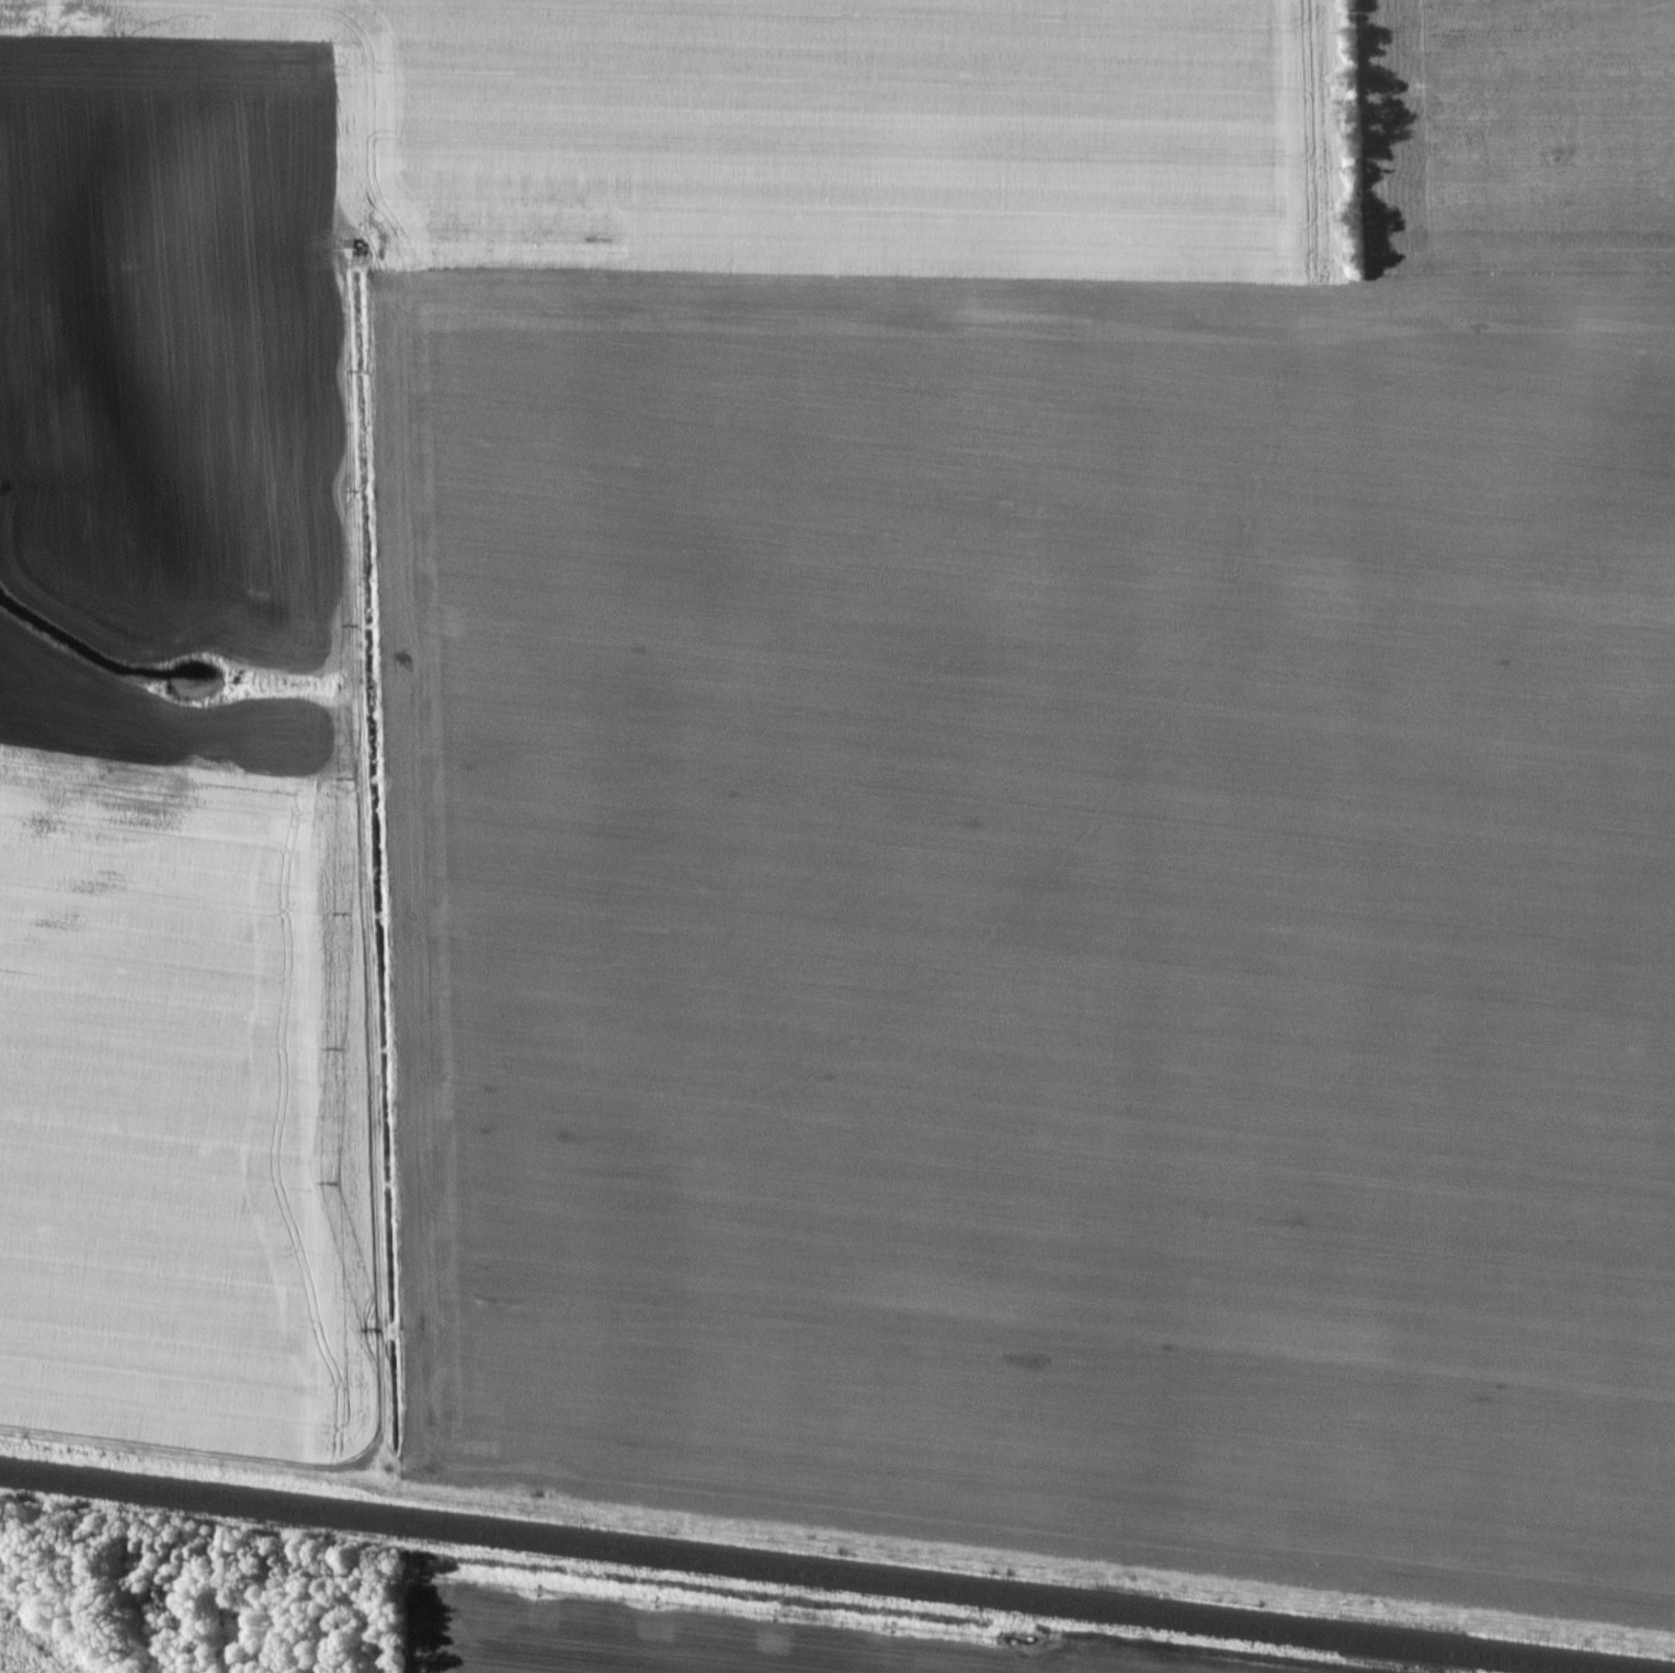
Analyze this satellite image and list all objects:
railway: (837, 1568)
railway: (805, 1574)

